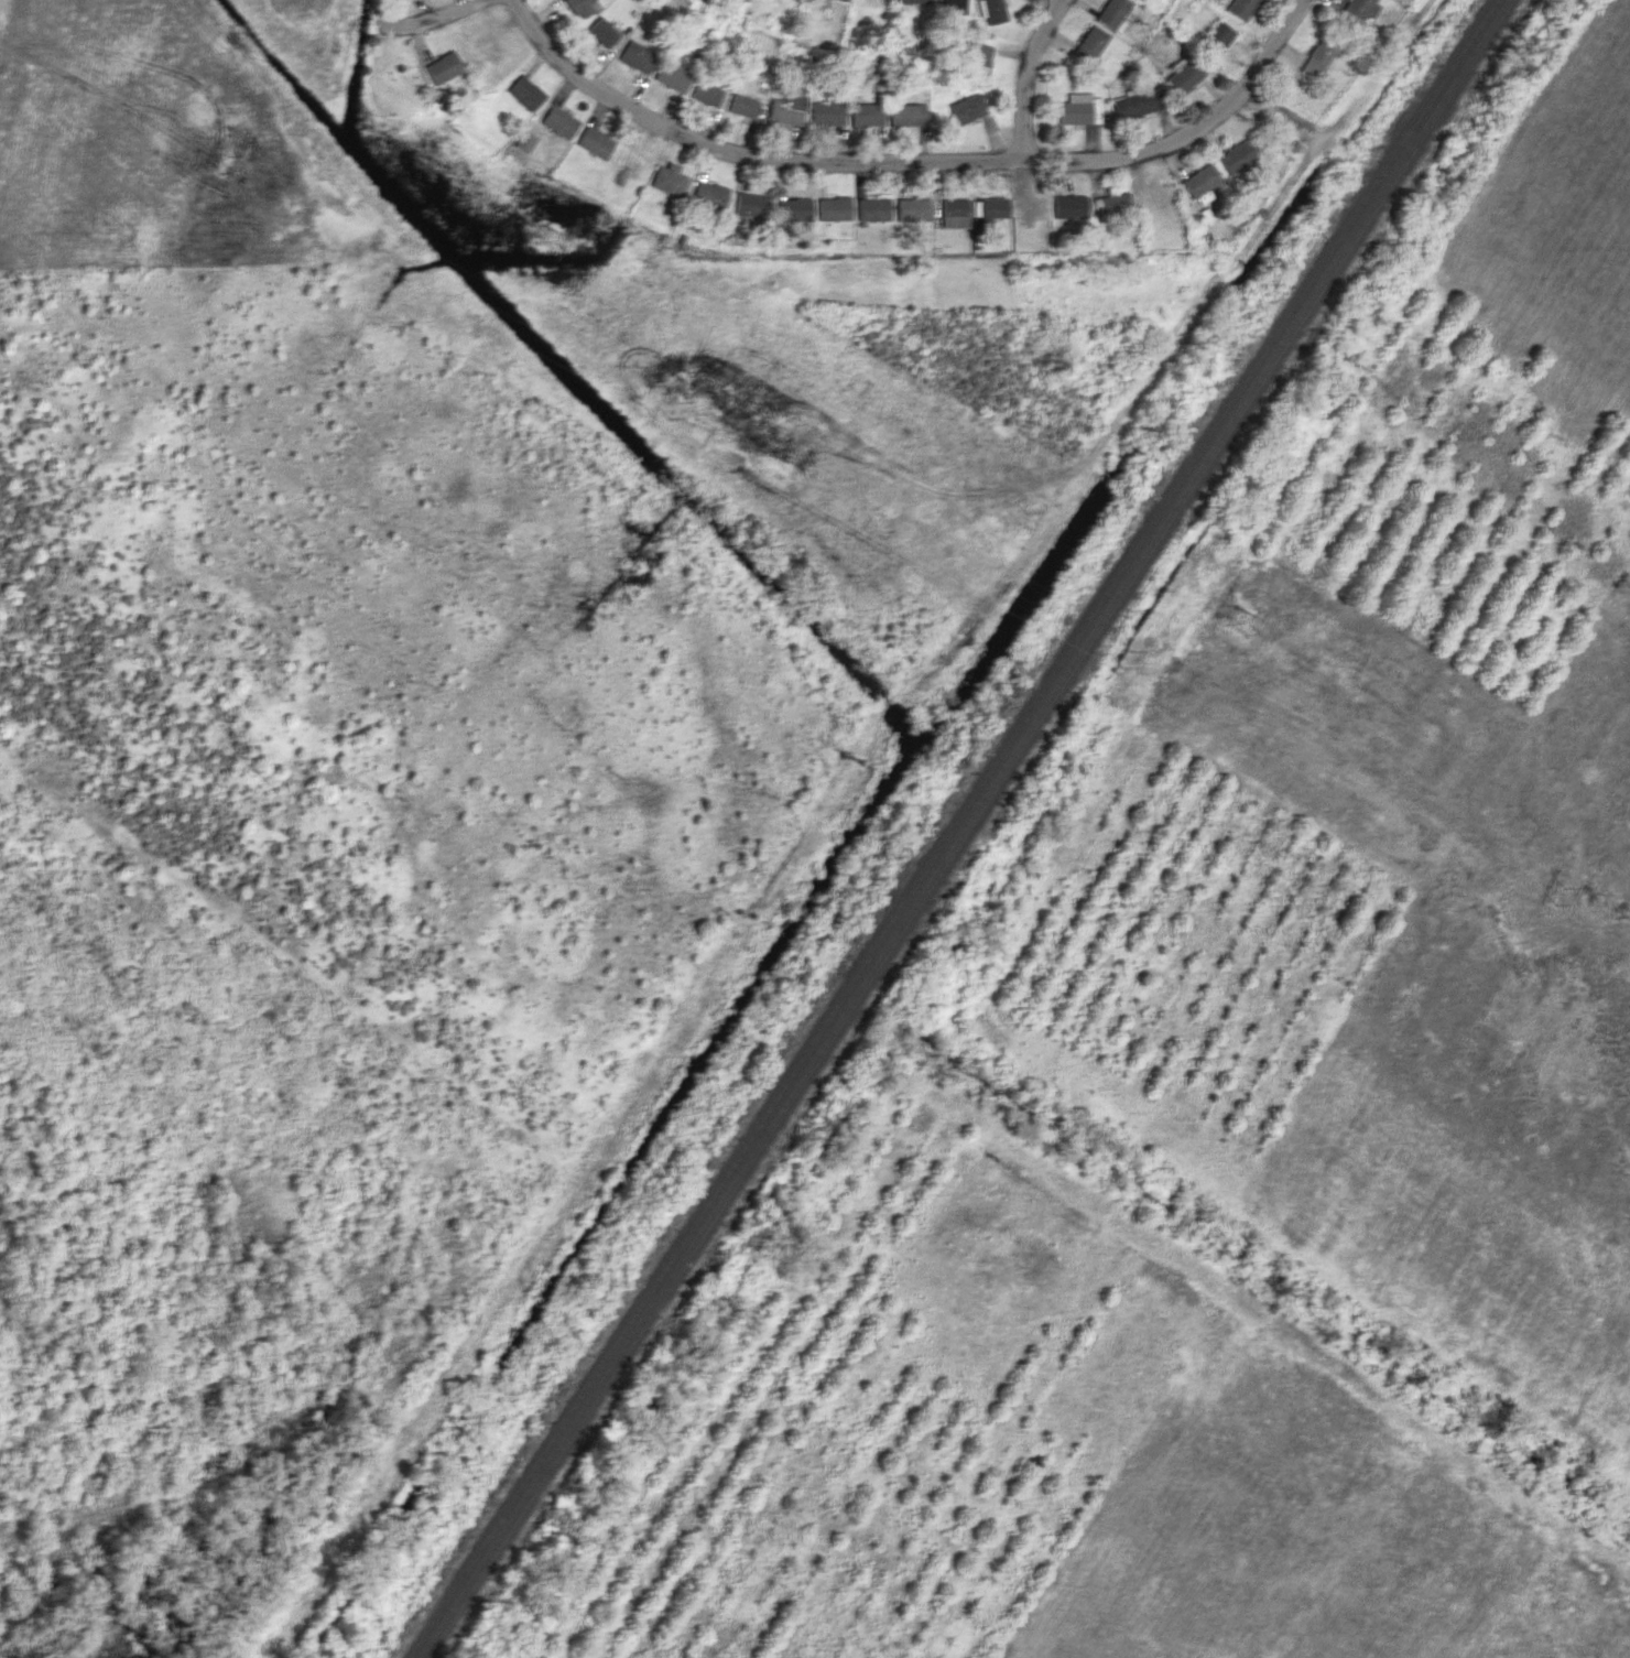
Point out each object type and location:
road: (441, 18)
crop: (311, 35)
road: (1271, 50)
road: (1031, 76)
road: (1283, 118)
crop: (167, 150)
power tower: (220, 160)
road: (856, 161)
power tower: (550, 236)
power tower: (673, 408)
power tower: (1242, 619)
power tower: (1124, 657)
railway: (950, 828)
railway: (963, 828)
power tower: (1565, 897)

